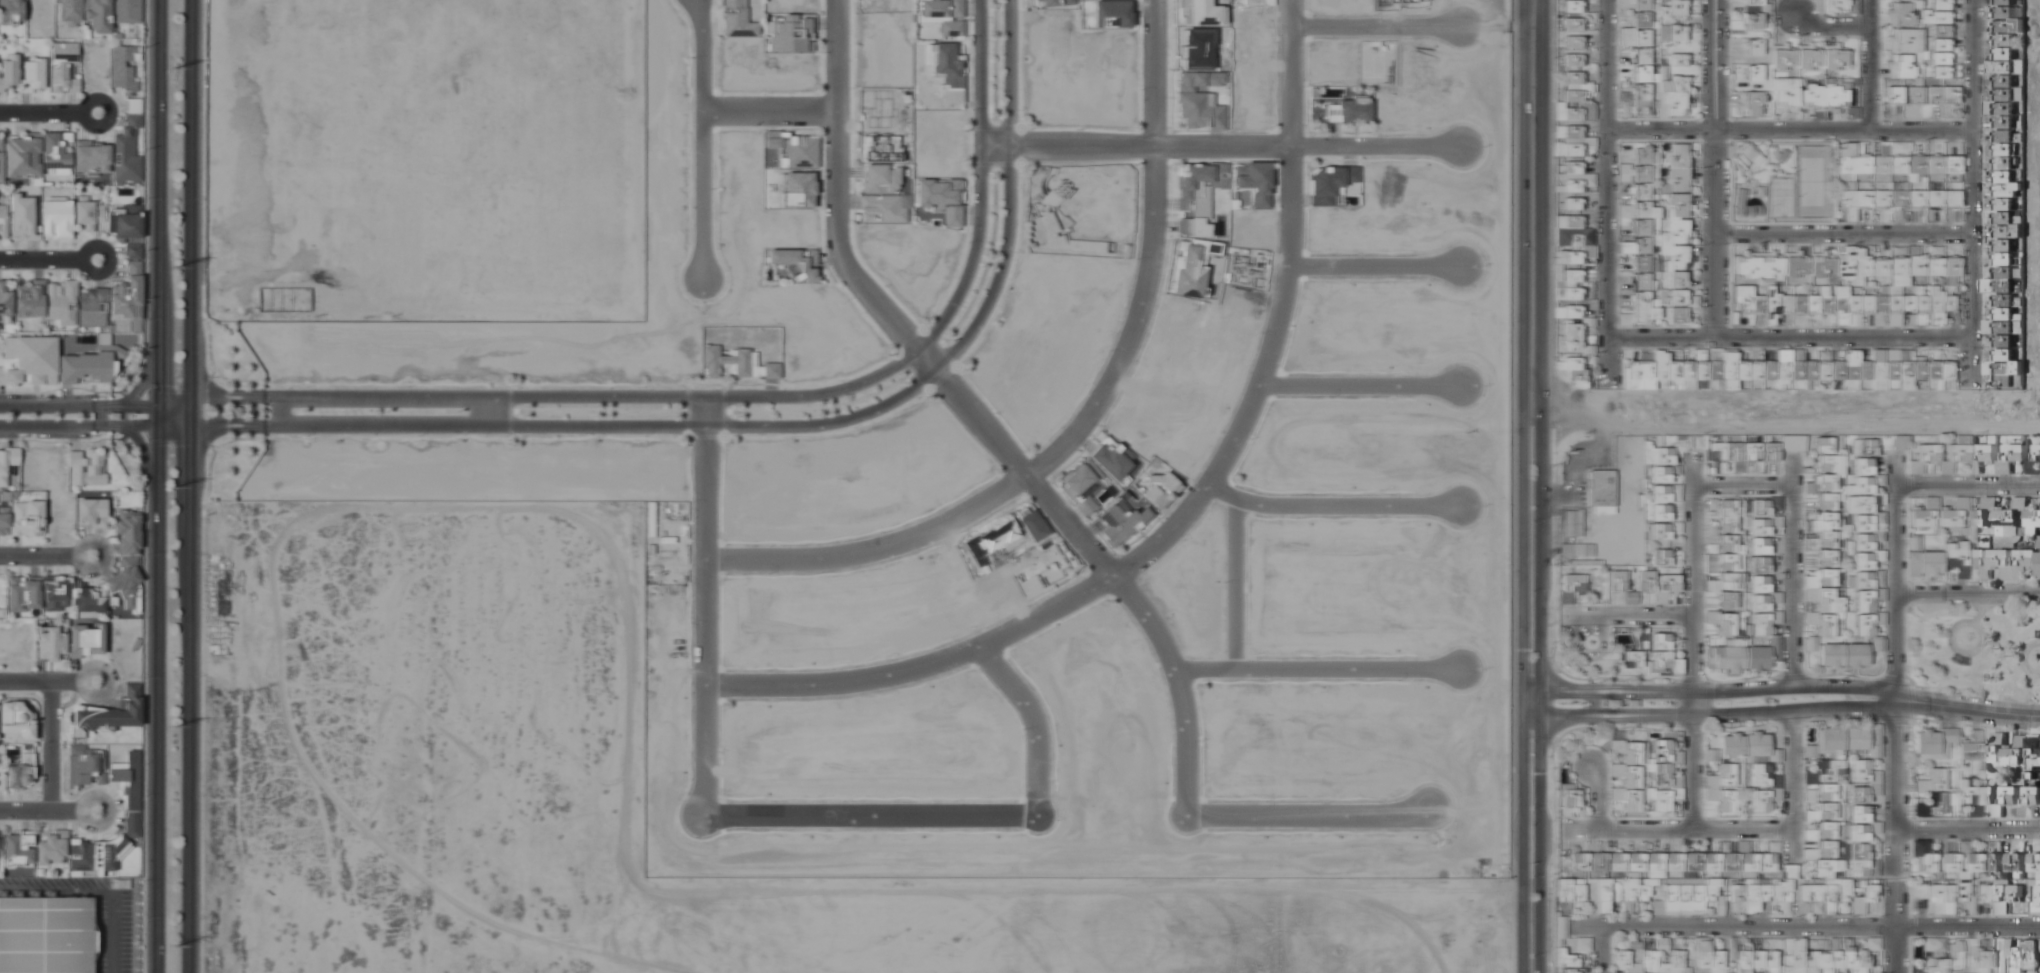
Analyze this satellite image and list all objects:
park: (1813, 182)
park: (1976, 648)

